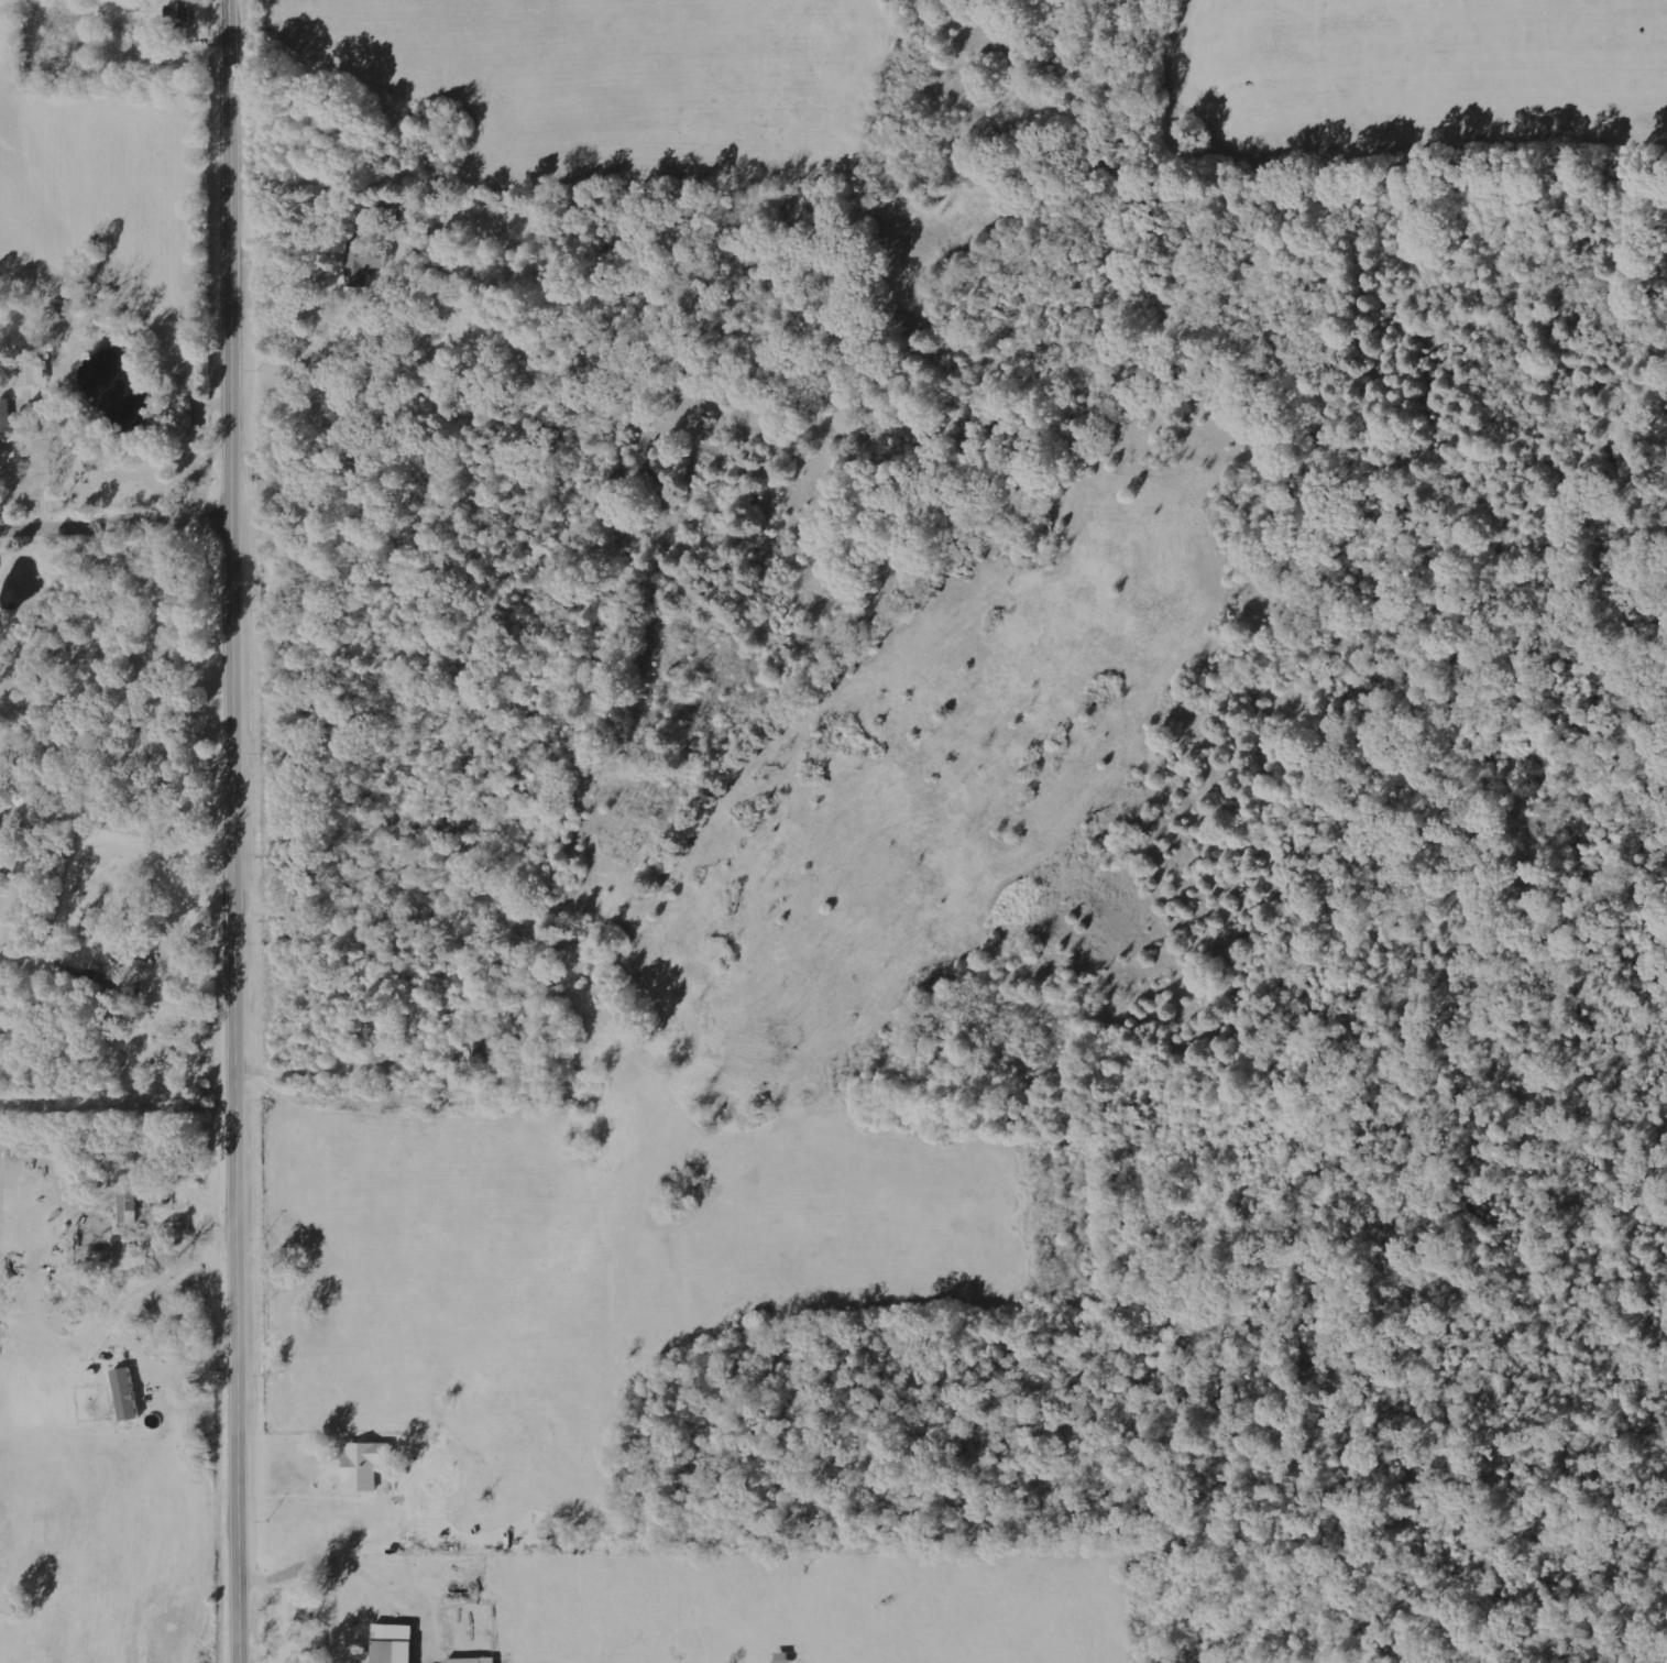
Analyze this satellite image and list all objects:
building: (179, 10)
building: (363, 260)
building: (35, 373)
building: (7, 416)
road: (118, 527)
road: (39, 723)
building: (15, 781)
road: (240, 831)
road: (88, 849)
building: (3, 891)
building: (99, 1014)
building: (7, 1016)
building: (131, 1205)
building: (368, 1465)
building: (396, 1643)
building: (785, 1657)
building: (475, 1660)

